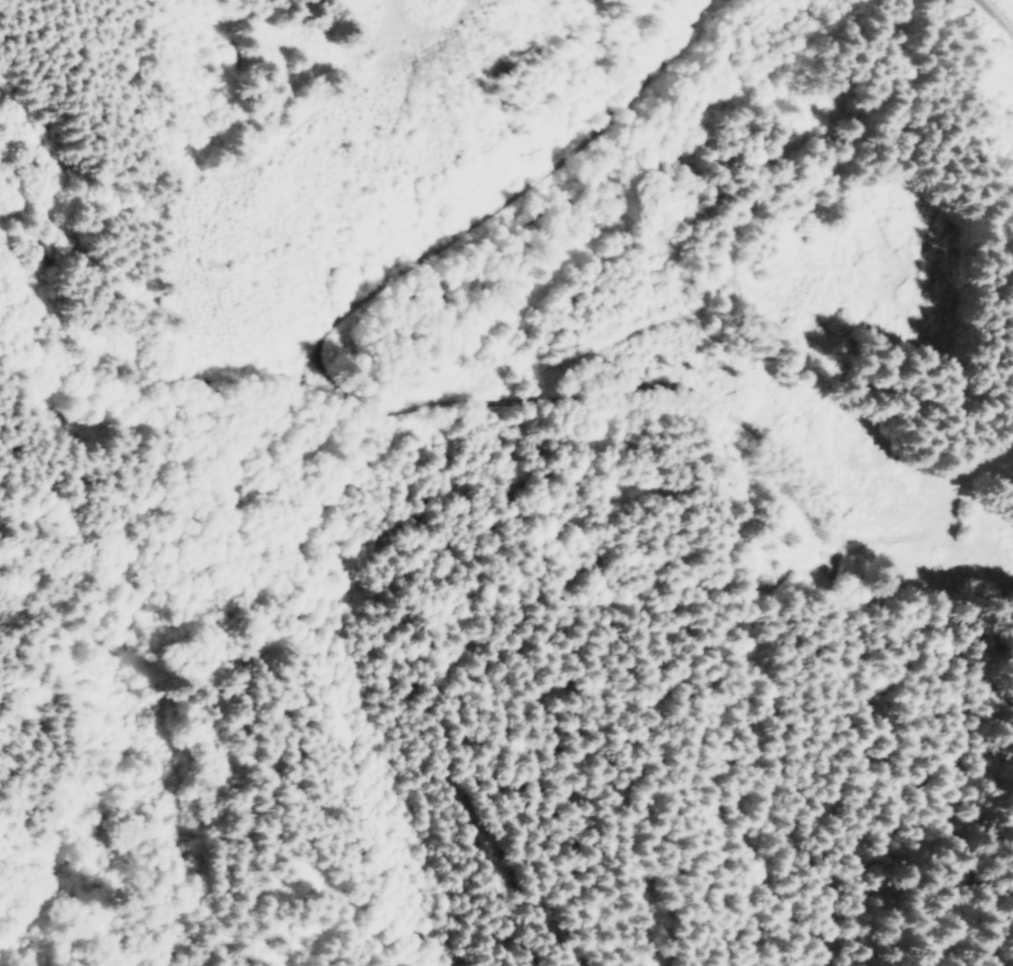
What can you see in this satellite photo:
road: (955, 70)

